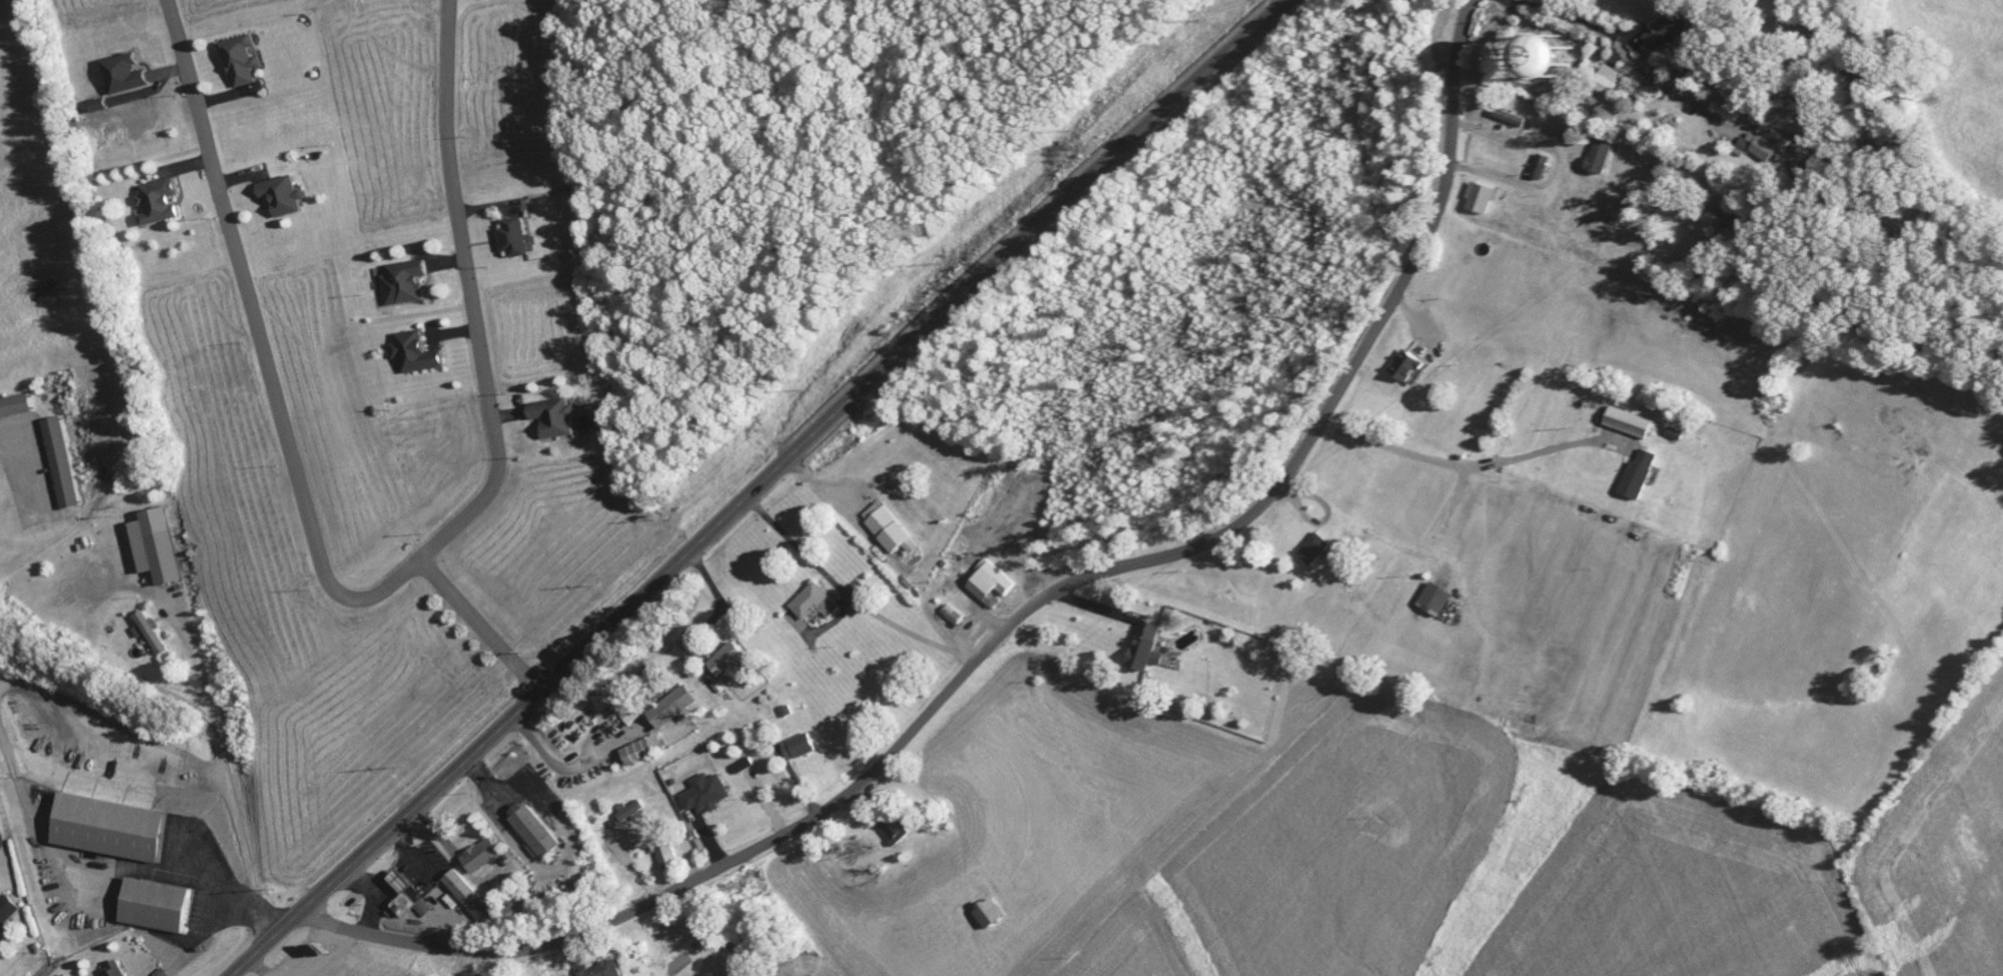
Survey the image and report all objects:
building: (1669, 34)
building: (241, 64)
building: (123, 77)
building: (1605, 84)
building: (1506, 121)
building: (1763, 148)
building: (1595, 161)
building: (1535, 170)
building: (282, 199)
building: (1477, 202)
building: (157, 205)
building: (1703, 229)
building: (513, 241)
building: (404, 286)
road: (472, 300)
road: (261, 340)
building: (414, 356)
building: (1408, 369)
building: (11, 409)
building: (555, 420)
building: (1626, 426)
building: (1672, 437)
building: (55, 466)
building: (1637, 479)
road: (757, 487)
building: (883, 530)
building: (156, 550)
building: (1312, 553)
building: (986, 585)
building: (945, 589)
road: (1040, 597)
building: (1436, 602)
building: (808, 605)
building: (948, 618)
road: (477, 625)
building: (151, 636)
building: (1145, 651)
building: (731, 664)
building: (678, 712)
building: (630, 715)
building: (796, 751)
building: (645, 753)
building: (740, 769)
building: (703, 797)
building: (627, 814)
building: (110, 832)
building: (892, 834)
building: (533, 835)
building: (659, 858)
building: (480, 859)
building: (468, 901)
building: (408, 902)
building: (156, 910)
building: (6, 912)
building: (987, 917)
road: (331, 924)
building: (601, 971)
building: (113, 972)

